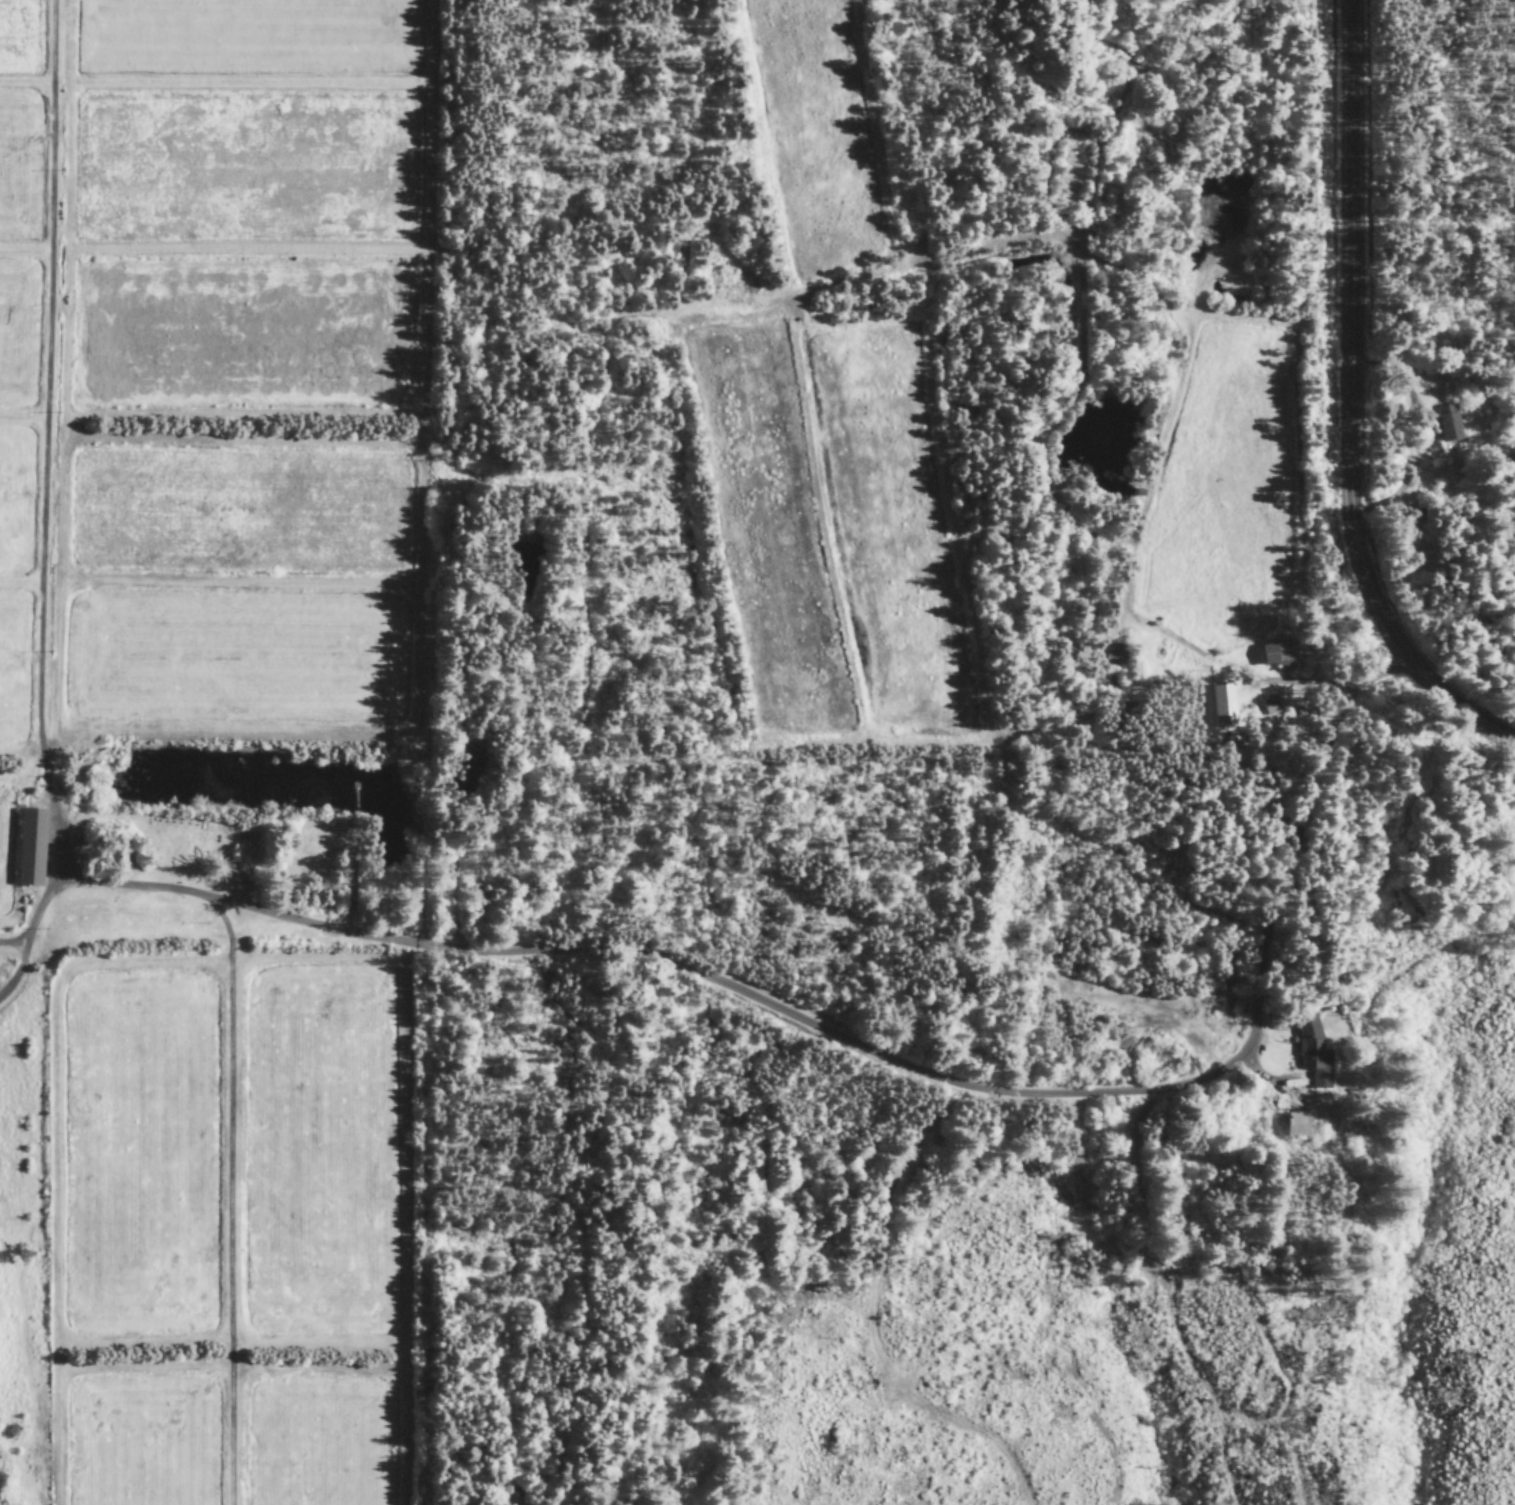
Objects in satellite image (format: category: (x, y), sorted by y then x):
crop: (251, 36)
crop: (20, 39)
crop: (819, 135)
crop: (18, 167)
crop: (244, 169)
crop: (18, 331)
crop: (245, 335)
road: (1348, 404)
building: (1445, 423)
crop: (1222, 499)
crop: (14, 501)
crop: (241, 515)
crop: (768, 533)
crop: (891, 533)
building: (1270, 654)
crop: (235, 660)
crop: (13, 668)
building: (1267, 706)
building: (1218, 707)
crop: (5, 847)
building: (26, 848)
road: (10, 941)
road: (811, 1023)
building: (1309, 1052)
crop: (321, 1153)
crop: (138, 1156)
crop: (143, 1441)
crop: (323, 1444)

